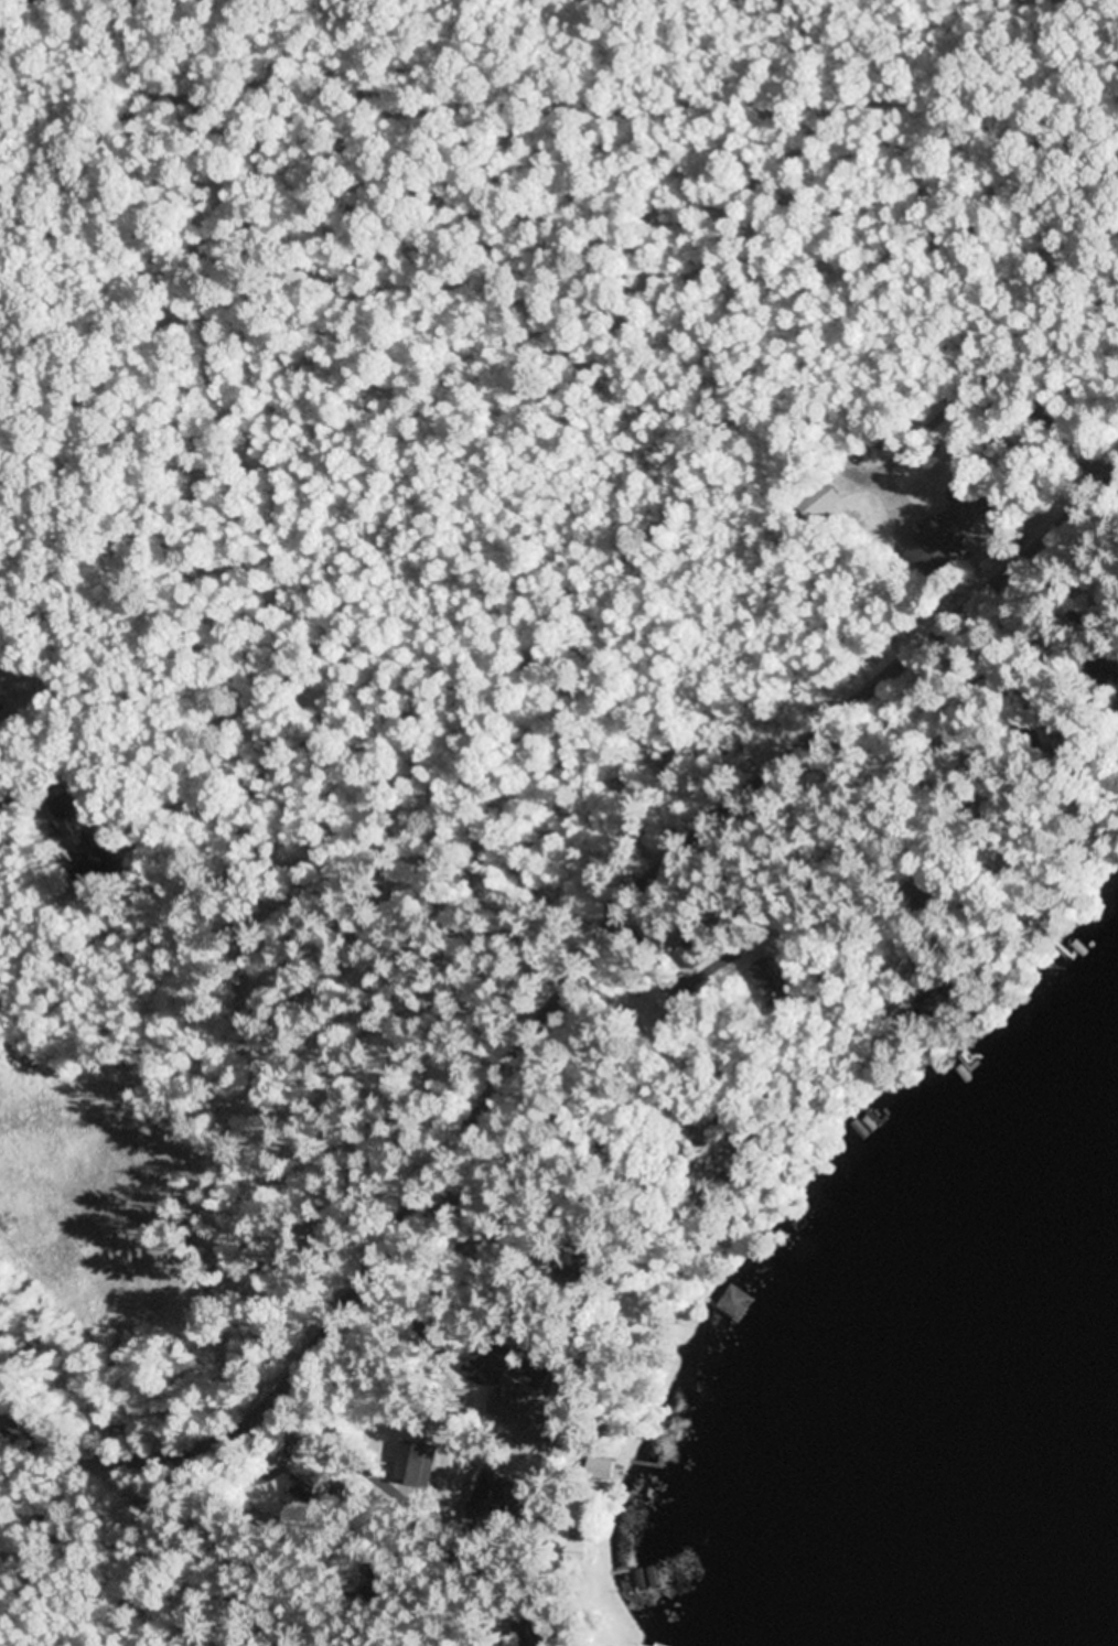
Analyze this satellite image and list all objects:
road: (1116, 473)
building: (825, 503)
building: (949, 534)
building: (98, 858)
building: (771, 980)
building: (654, 1001)
road: (571, 1019)
building: (728, 1162)
building: (737, 1303)
building: (527, 1413)
building: (491, 1494)
building: (375, 1567)

